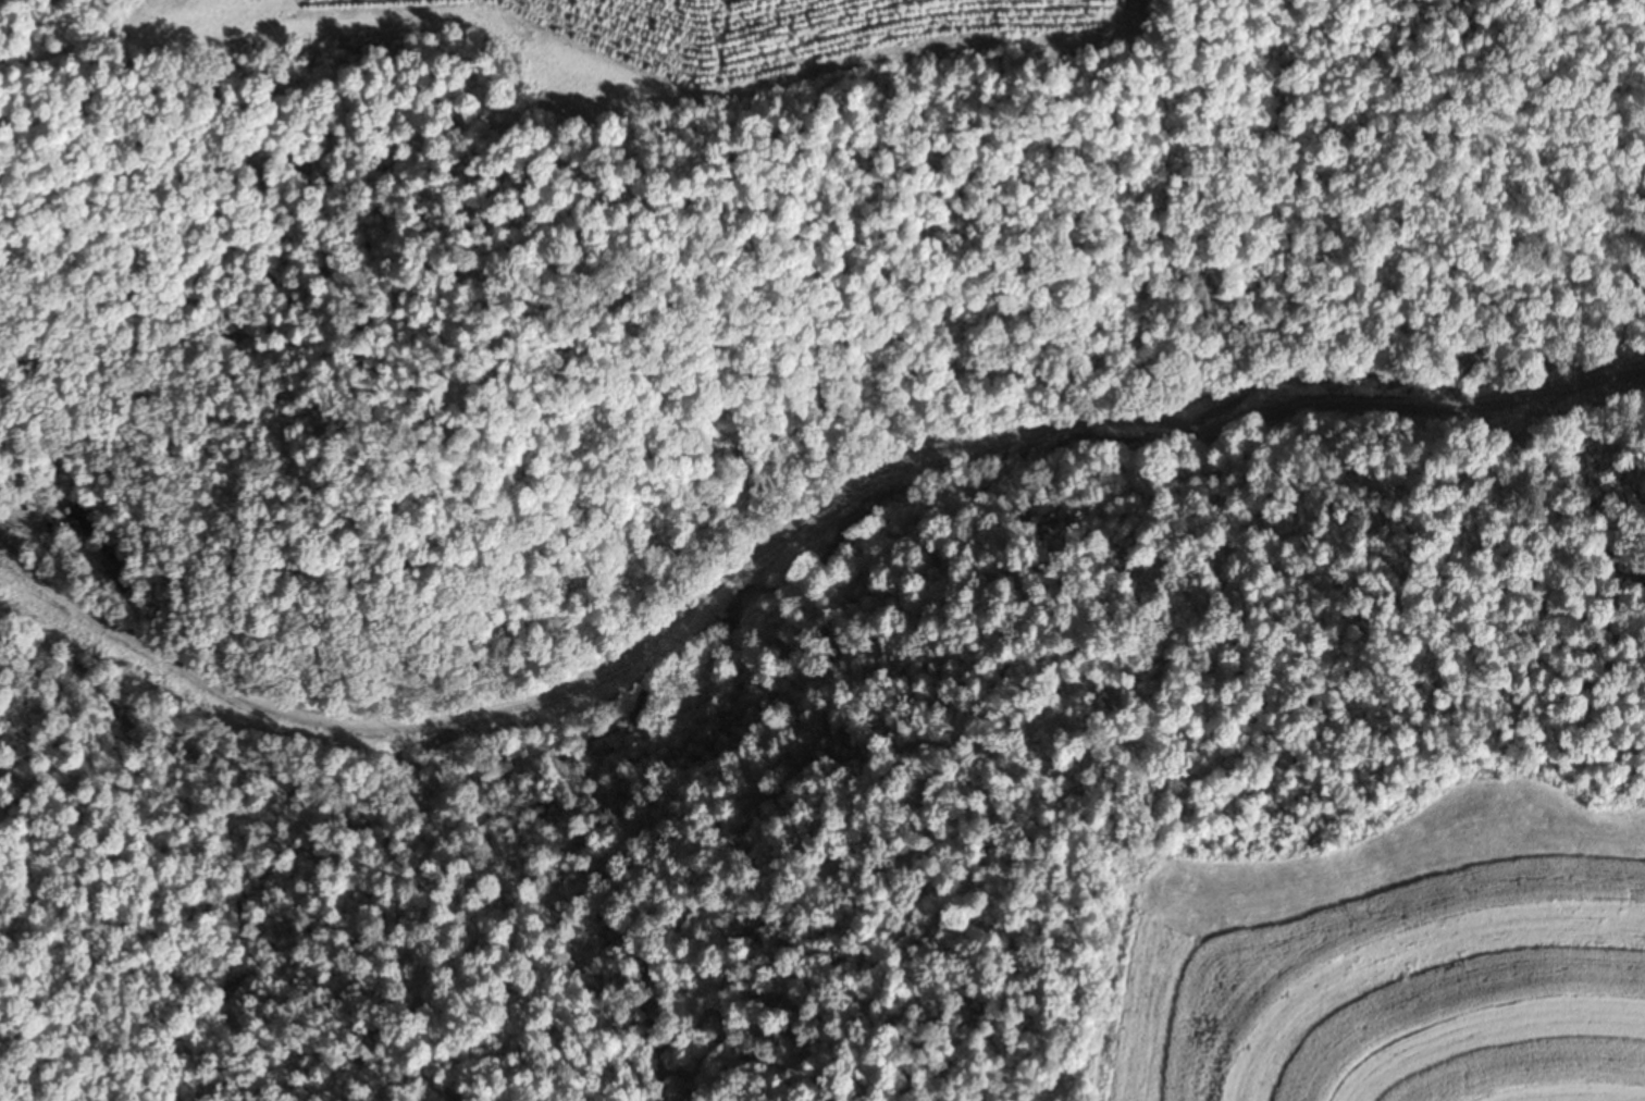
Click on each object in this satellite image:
road: (1282, 370)
road: (782, 471)
building: (88, 518)

